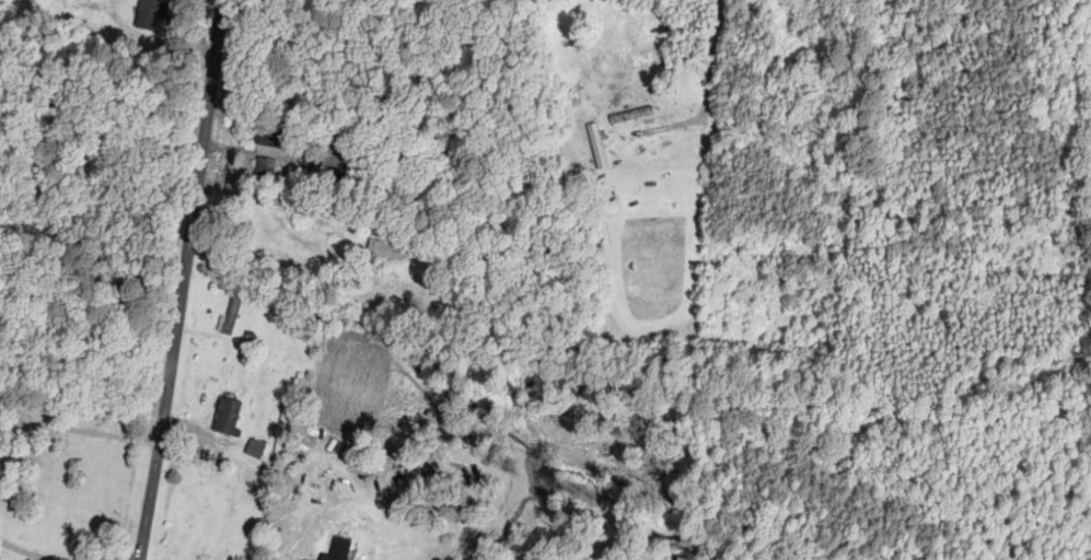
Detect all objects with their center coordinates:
building: (150, 13)
road: (747, 94)
road: (388, 102)
building: (269, 138)
building: (387, 250)
road: (179, 280)
building: (230, 316)
building: (228, 415)
building: (255, 448)
building: (339, 549)

